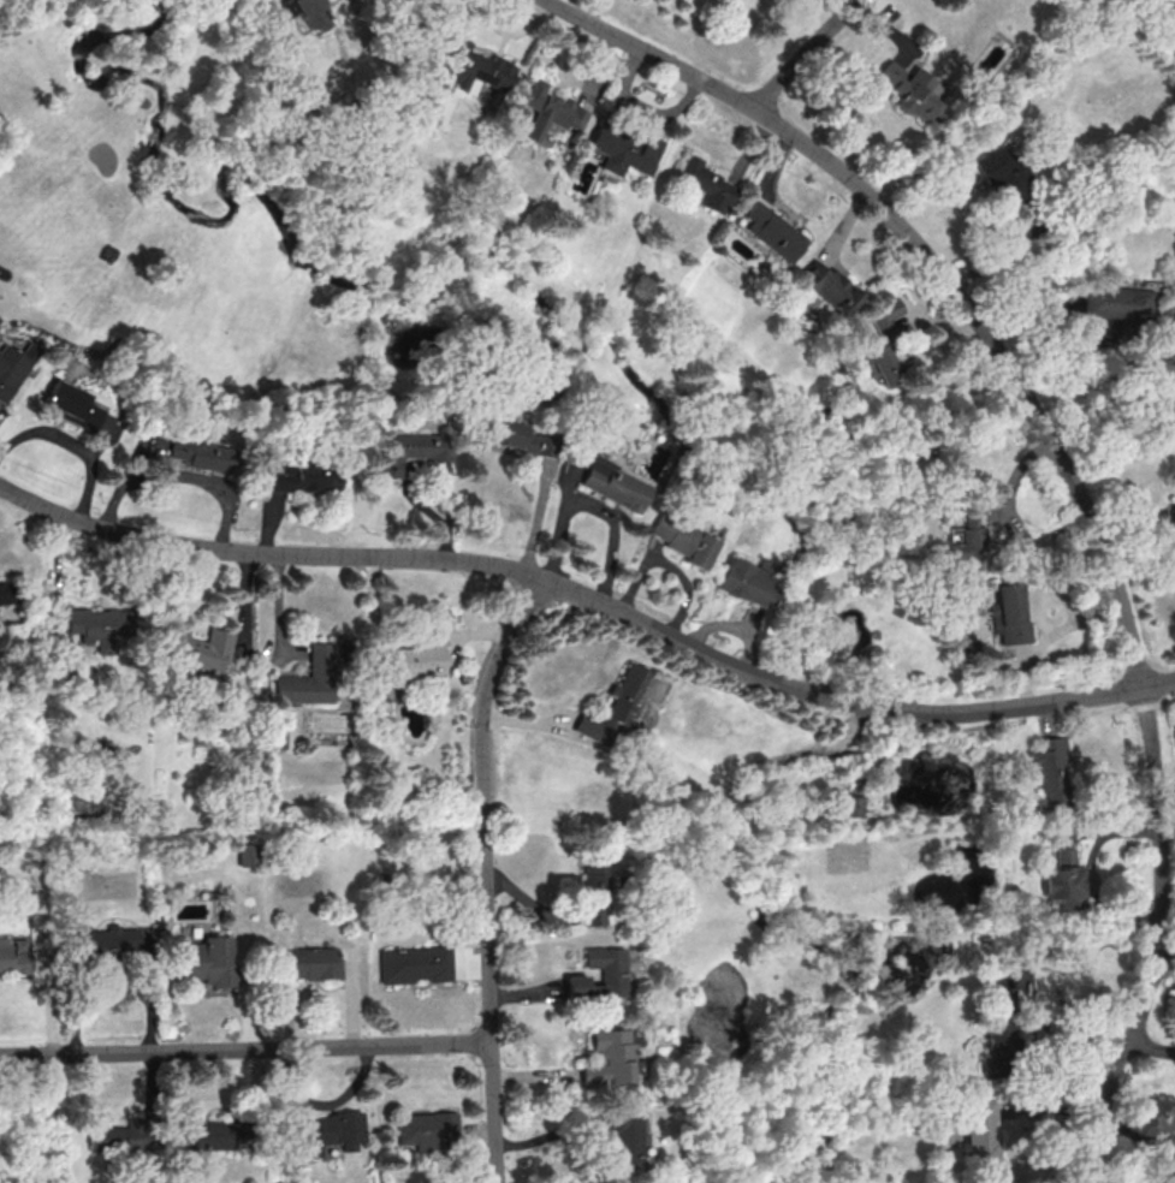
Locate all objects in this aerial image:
building: (307, 12)
road: (803, 53)
building: (468, 69)
building: (912, 88)
building: (551, 111)
building: (622, 149)
road: (146, 166)
building: (1001, 173)
building: (708, 184)
building: (775, 231)
road: (938, 263)
building: (831, 286)
river: (527, 290)
building: (1117, 302)
building: (885, 317)
road: (1127, 353)
building: (883, 364)
building: (12, 365)
building: (70, 405)
building: (505, 433)
road: (72, 444)
building: (409, 451)
building: (200, 453)
road: (180, 474)
building: (301, 477)
building: (612, 485)
building: (1173, 517)
building: (965, 537)
building: (682, 540)
building: (744, 582)
road: (576, 591)
building: (5, 593)
building: (1008, 613)
building: (97, 626)
road: (404, 634)
building: (195, 649)
building: (409, 660)
building: (309, 677)
road: (1158, 682)
river: (861, 703)
building: (615, 707)
building: (275, 738)
building: (1049, 771)
building: (850, 805)
building: (247, 851)
road: (485, 874)
building: (1063, 880)
building: (594, 893)
road: (1159, 939)
building: (106, 943)
river: (818, 947)
building: (16, 959)
building: (210, 959)
road: (1165, 961)
building: (313, 965)
building: (417, 967)
building: (600, 974)
road: (1028, 981)
building: (999, 1024)
road: (1153, 1042)
road: (245, 1047)
building: (607, 1057)
building: (429, 1130)
building: (978, 1130)
building: (331, 1133)
building: (216, 1136)
building: (625, 1137)
building: (121, 1140)

